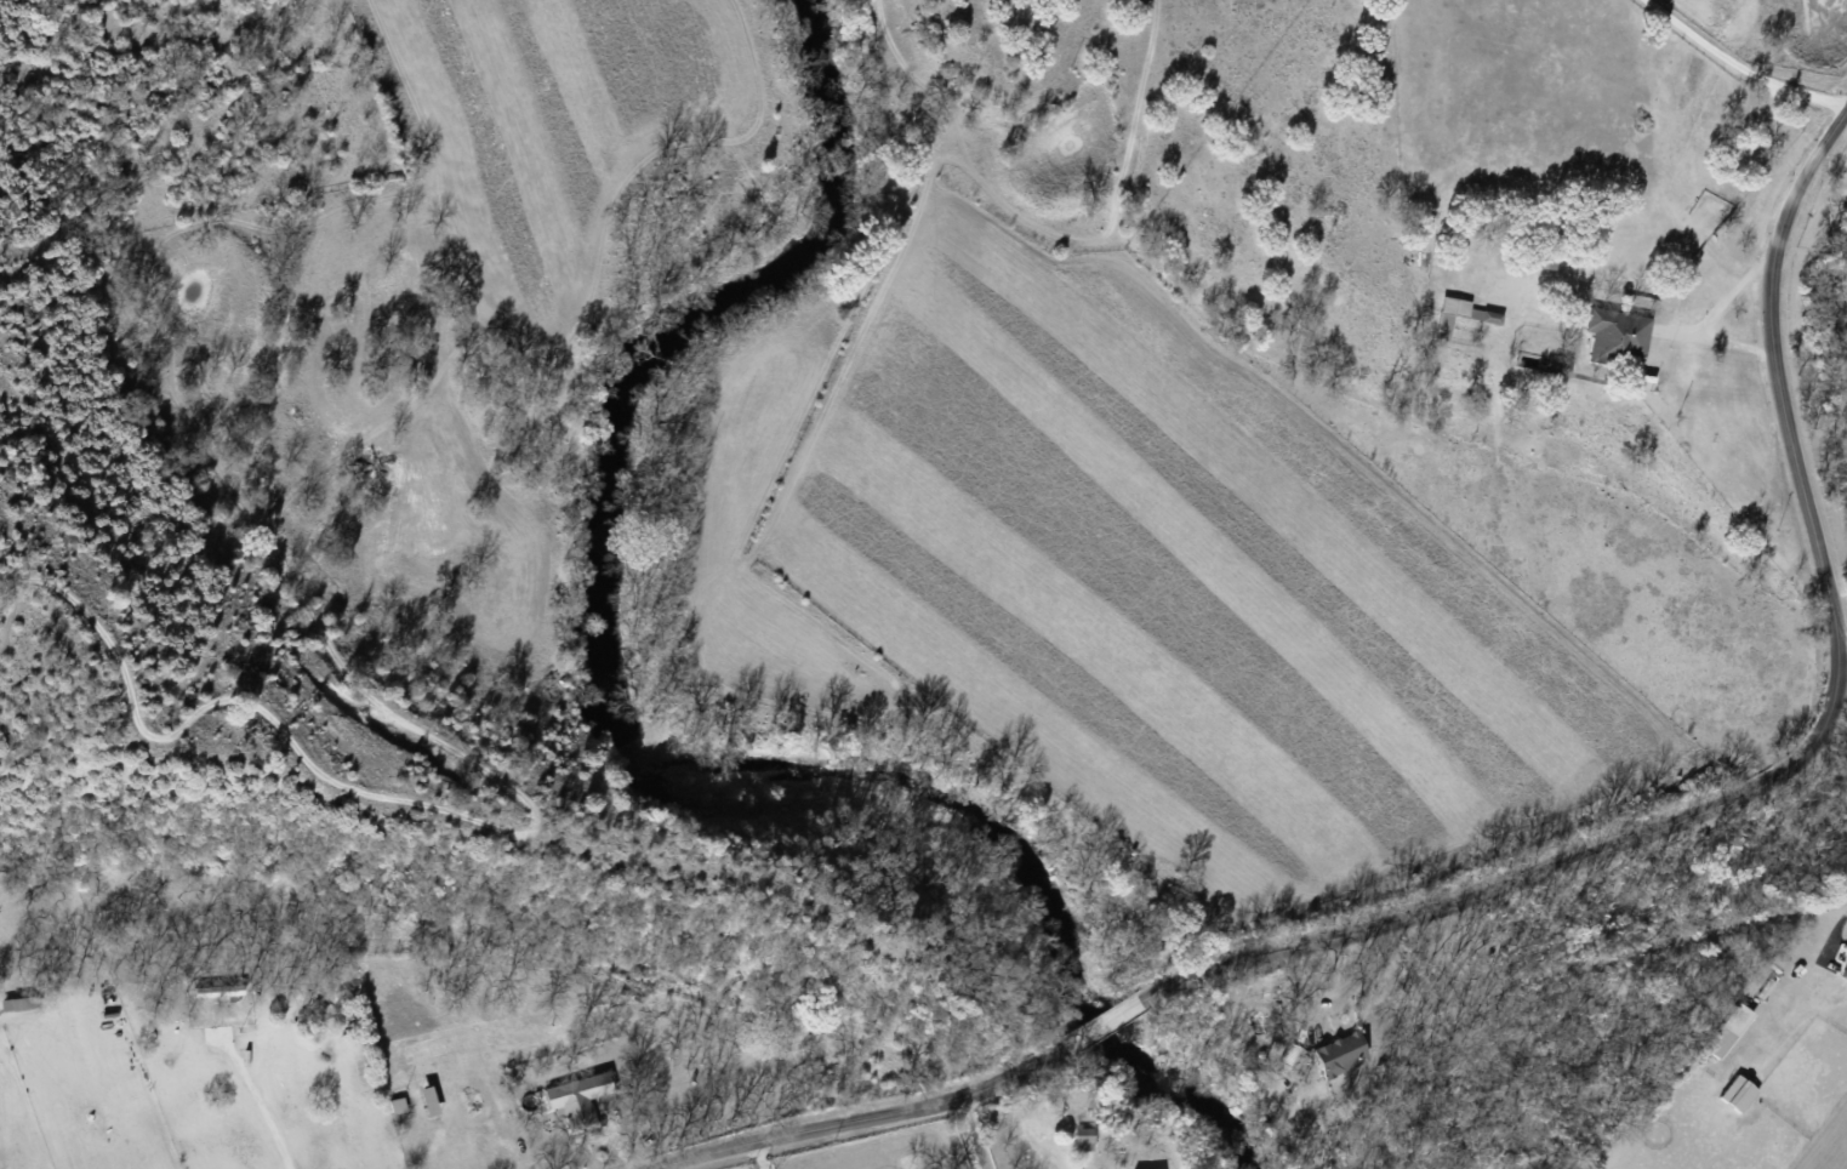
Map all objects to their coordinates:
road: (1741, 64)
road: (1714, 309)
building: (1453, 314)
building: (1617, 336)
road: (1841, 646)
road: (1784, 762)
building: (1845, 973)
road: (1111, 1023)
building: (1728, 1030)
building: (1340, 1053)
building: (1290, 1055)
building: (1737, 1093)
road: (958, 1095)
building: (576, 1096)
road: (263, 1113)
road: (971, 1131)
building: (1082, 1139)
road: (732, 1145)
road: (762, 1154)
building: (1152, 1168)

